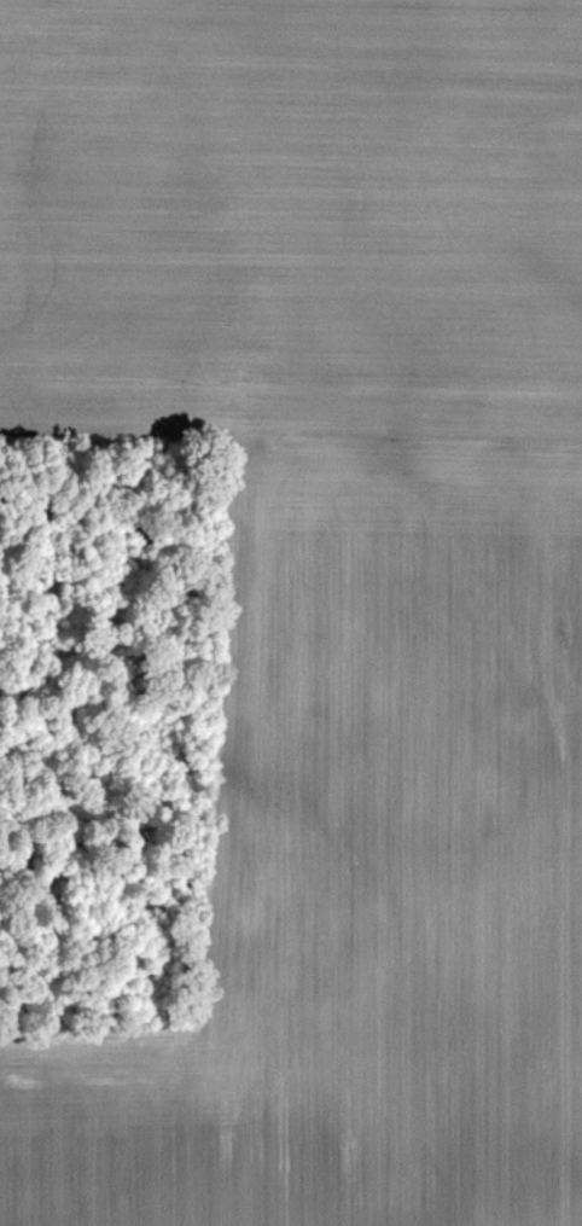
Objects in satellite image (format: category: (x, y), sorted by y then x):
crop: (291, 612)

